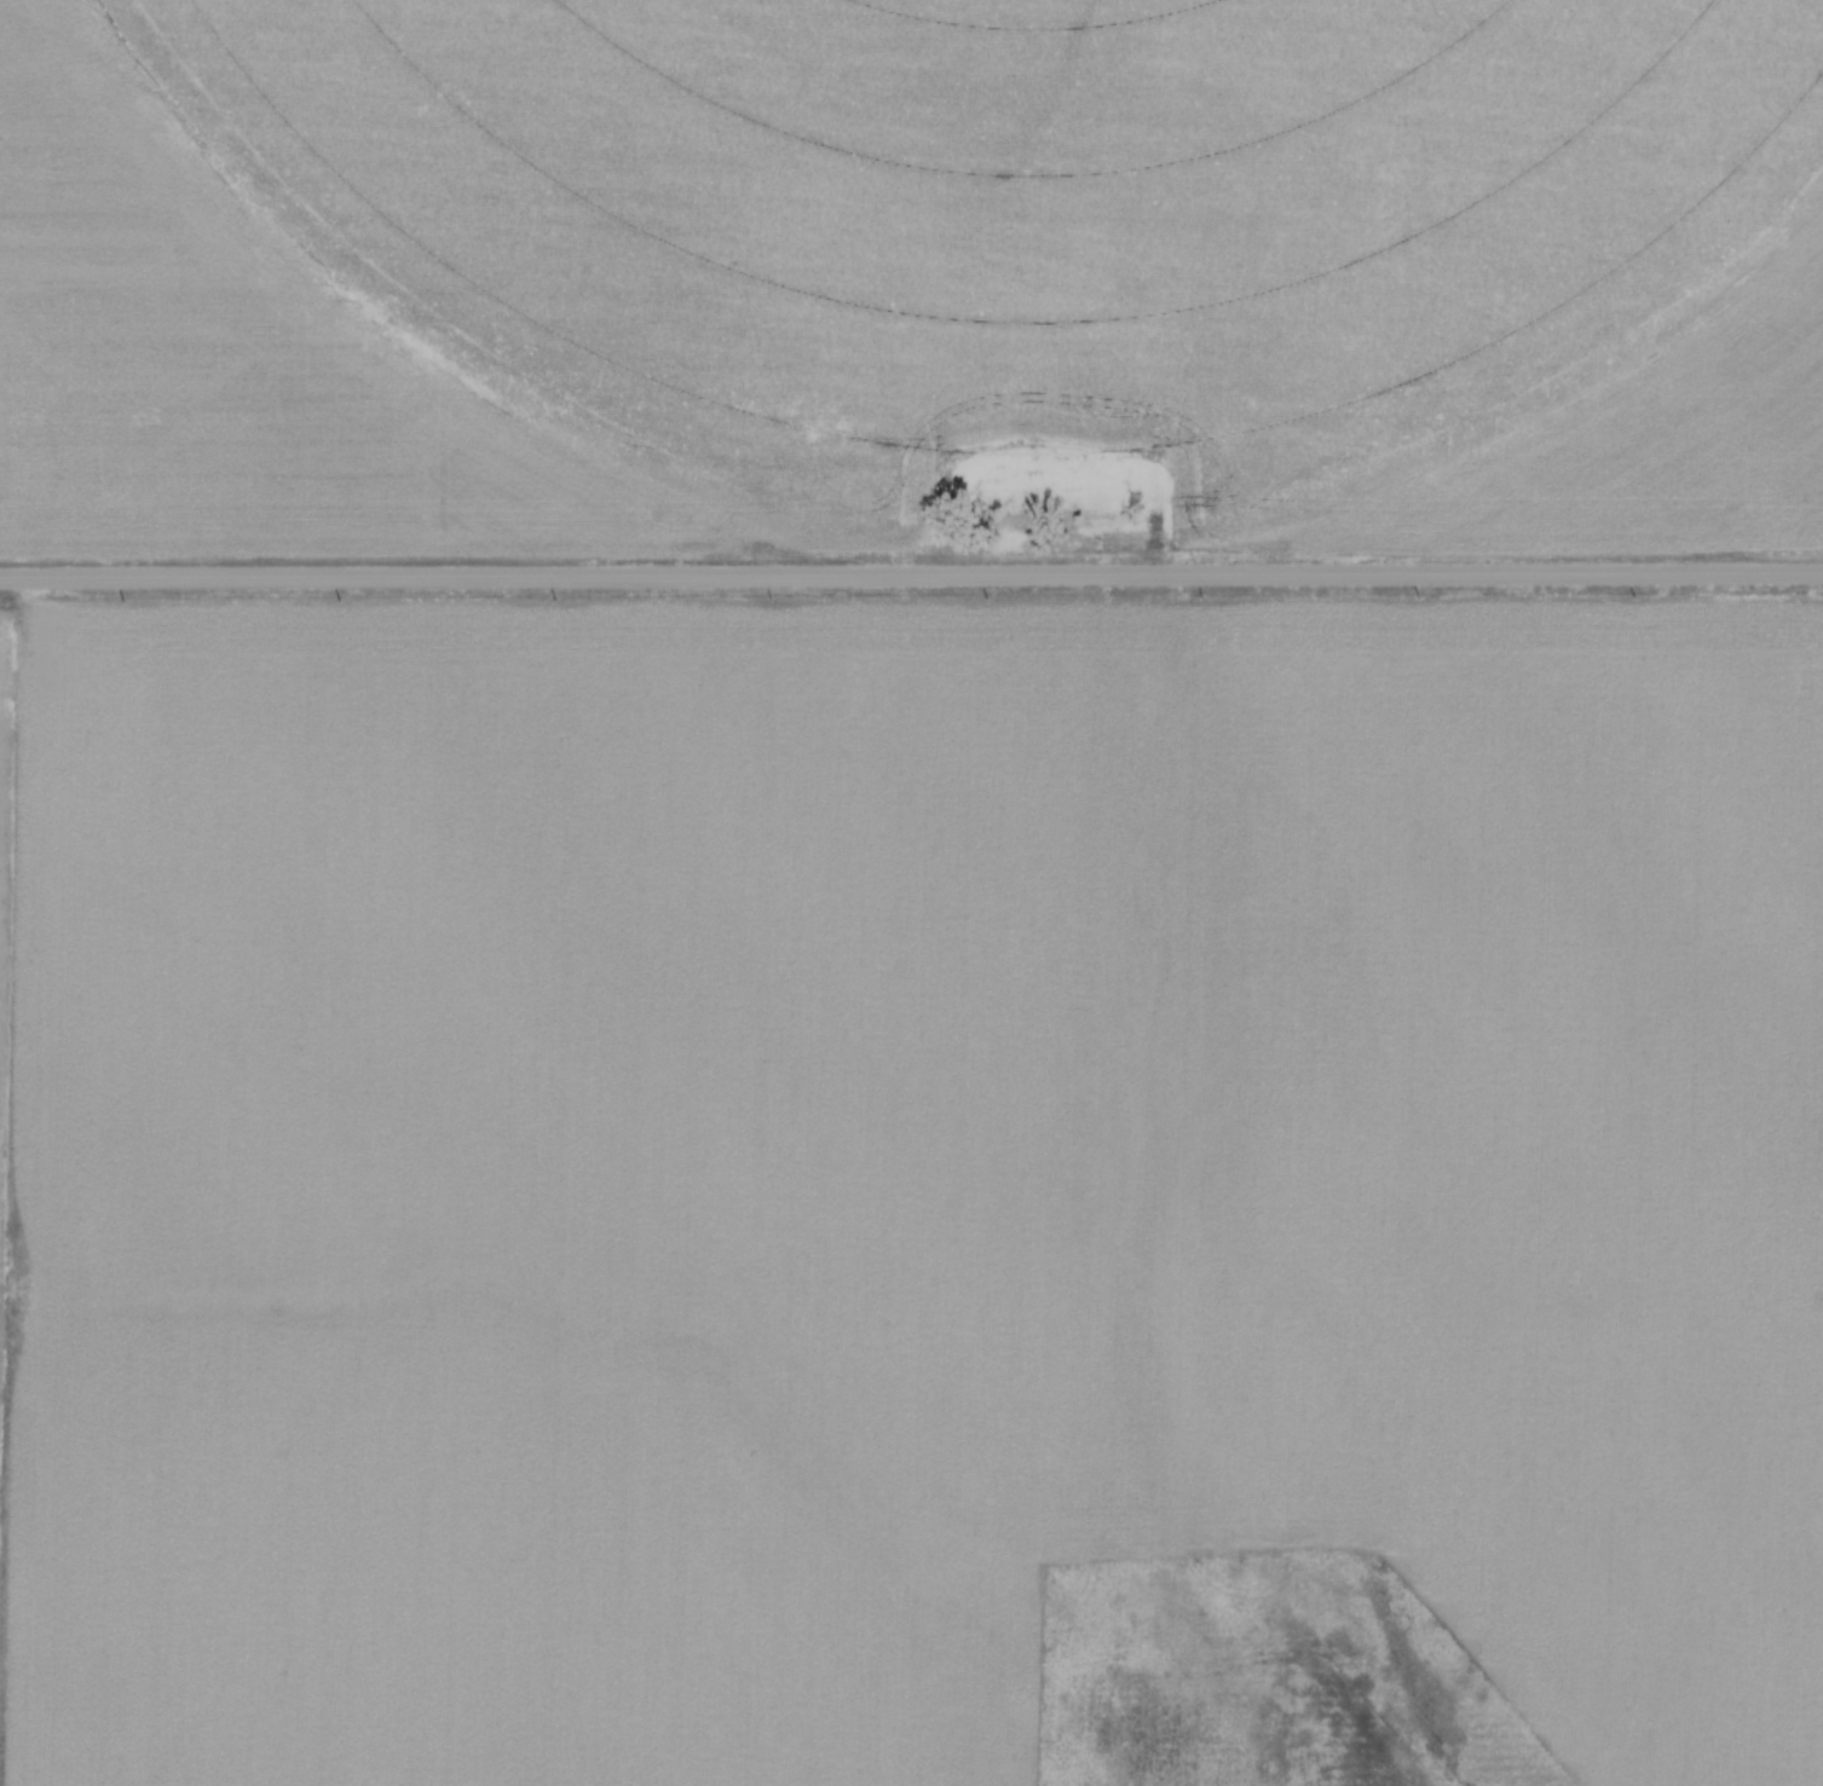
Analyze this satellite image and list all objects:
crop: (905, 271)
road: (911, 574)
crop: (912, 1193)

